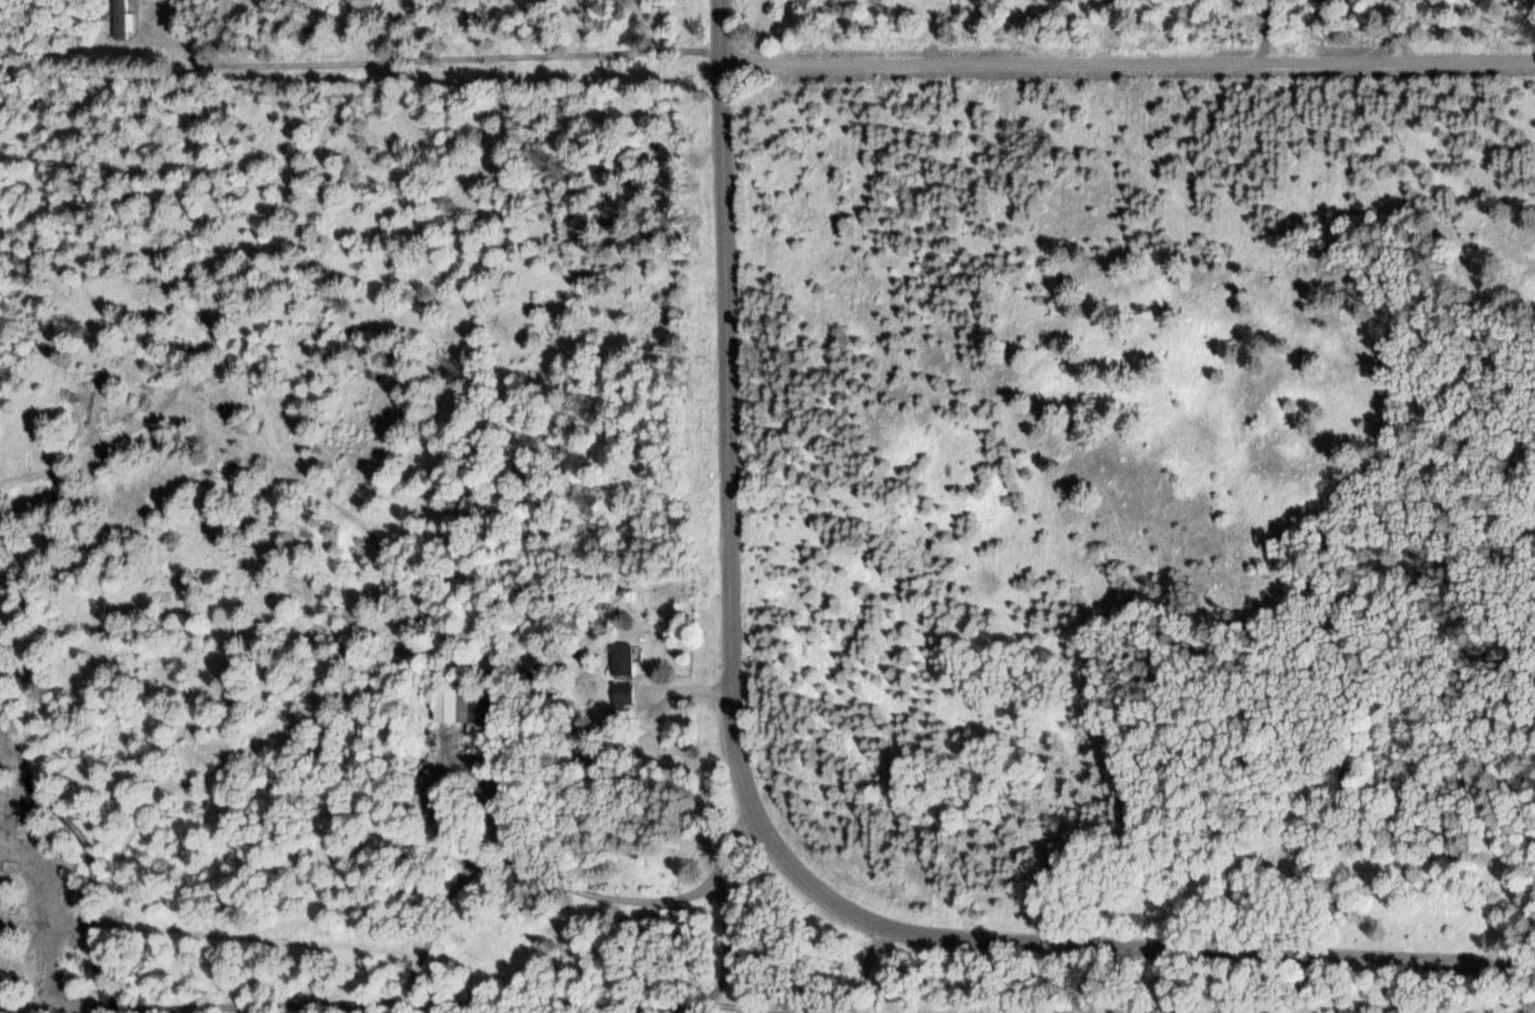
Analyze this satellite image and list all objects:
building: (123, 16)
road: (426, 62)
road: (1127, 64)
building: (619, 659)
building: (620, 693)
building: (459, 708)
road: (755, 820)
road: (863, 969)
road: (449, 1006)

